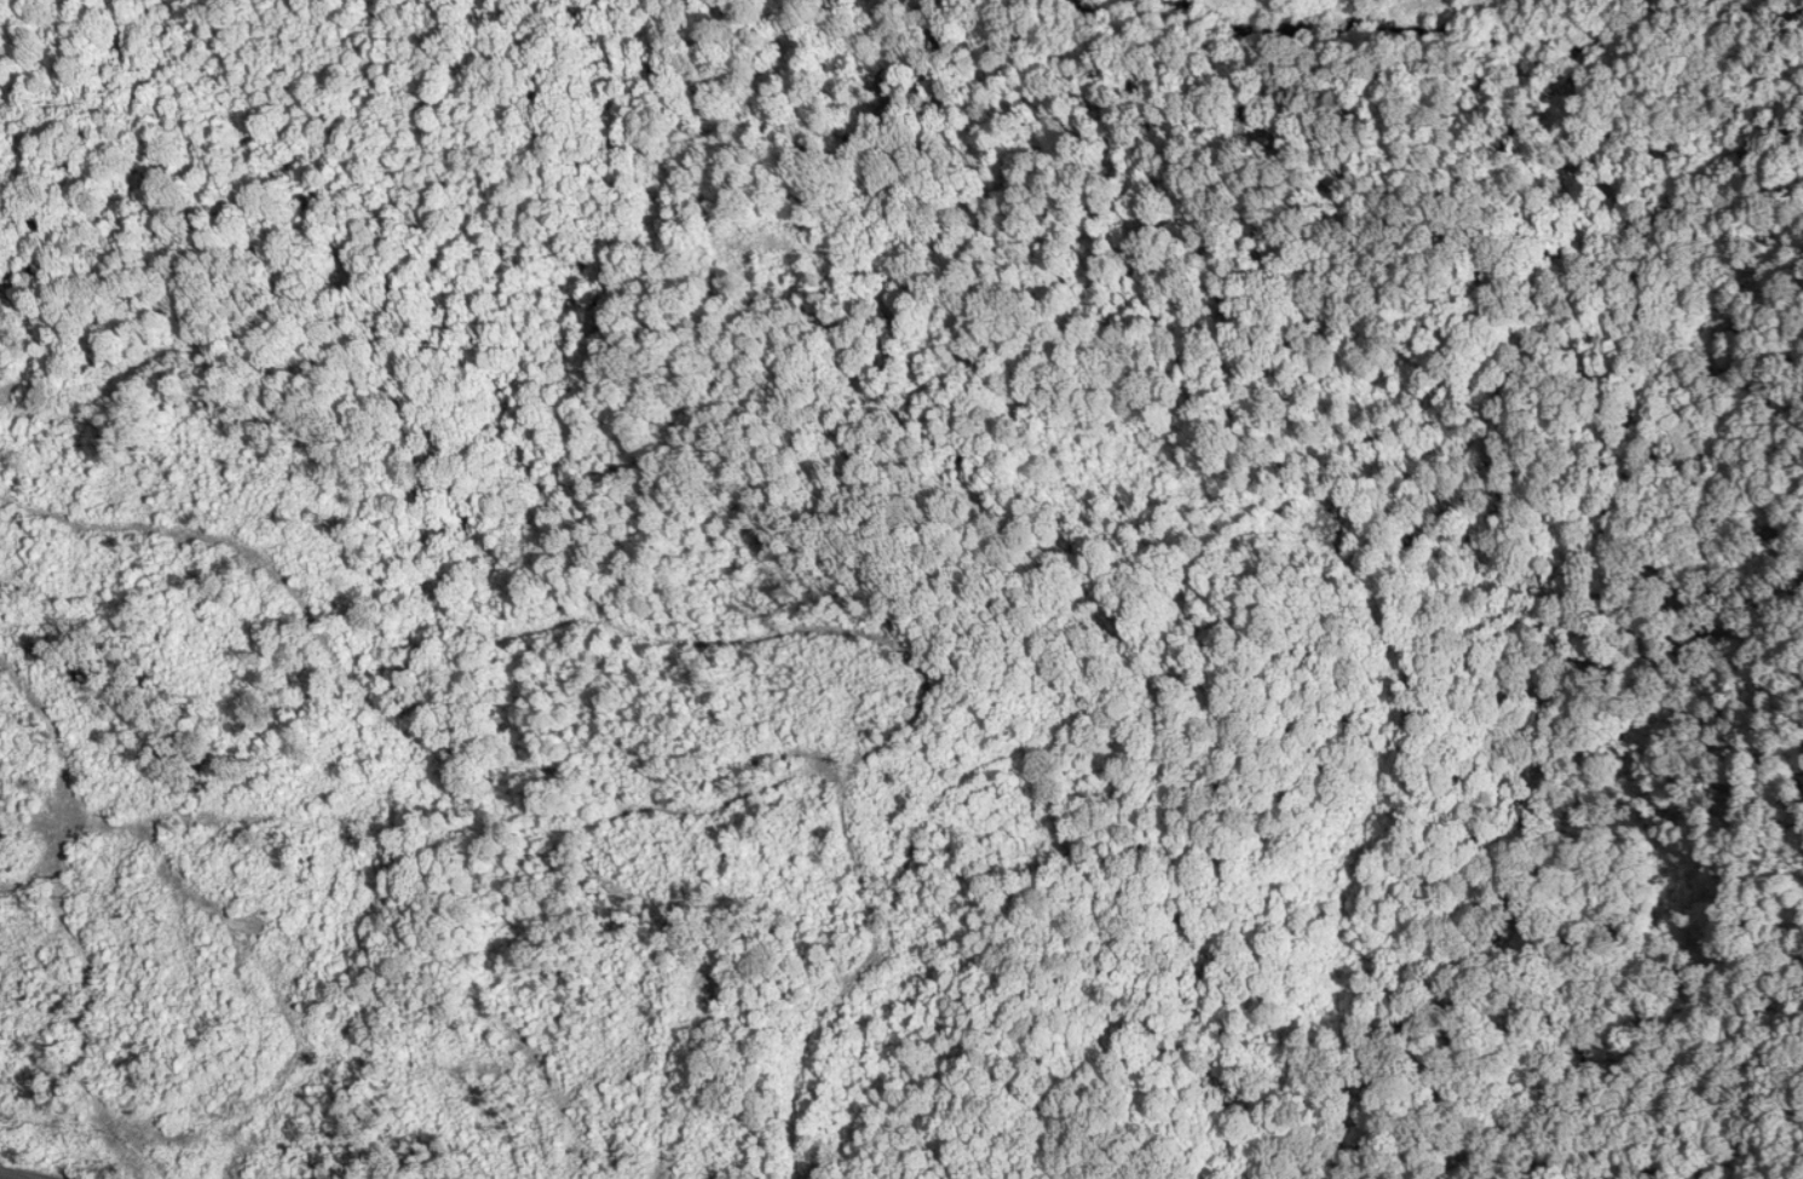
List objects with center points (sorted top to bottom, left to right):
road: (11, 1174)

